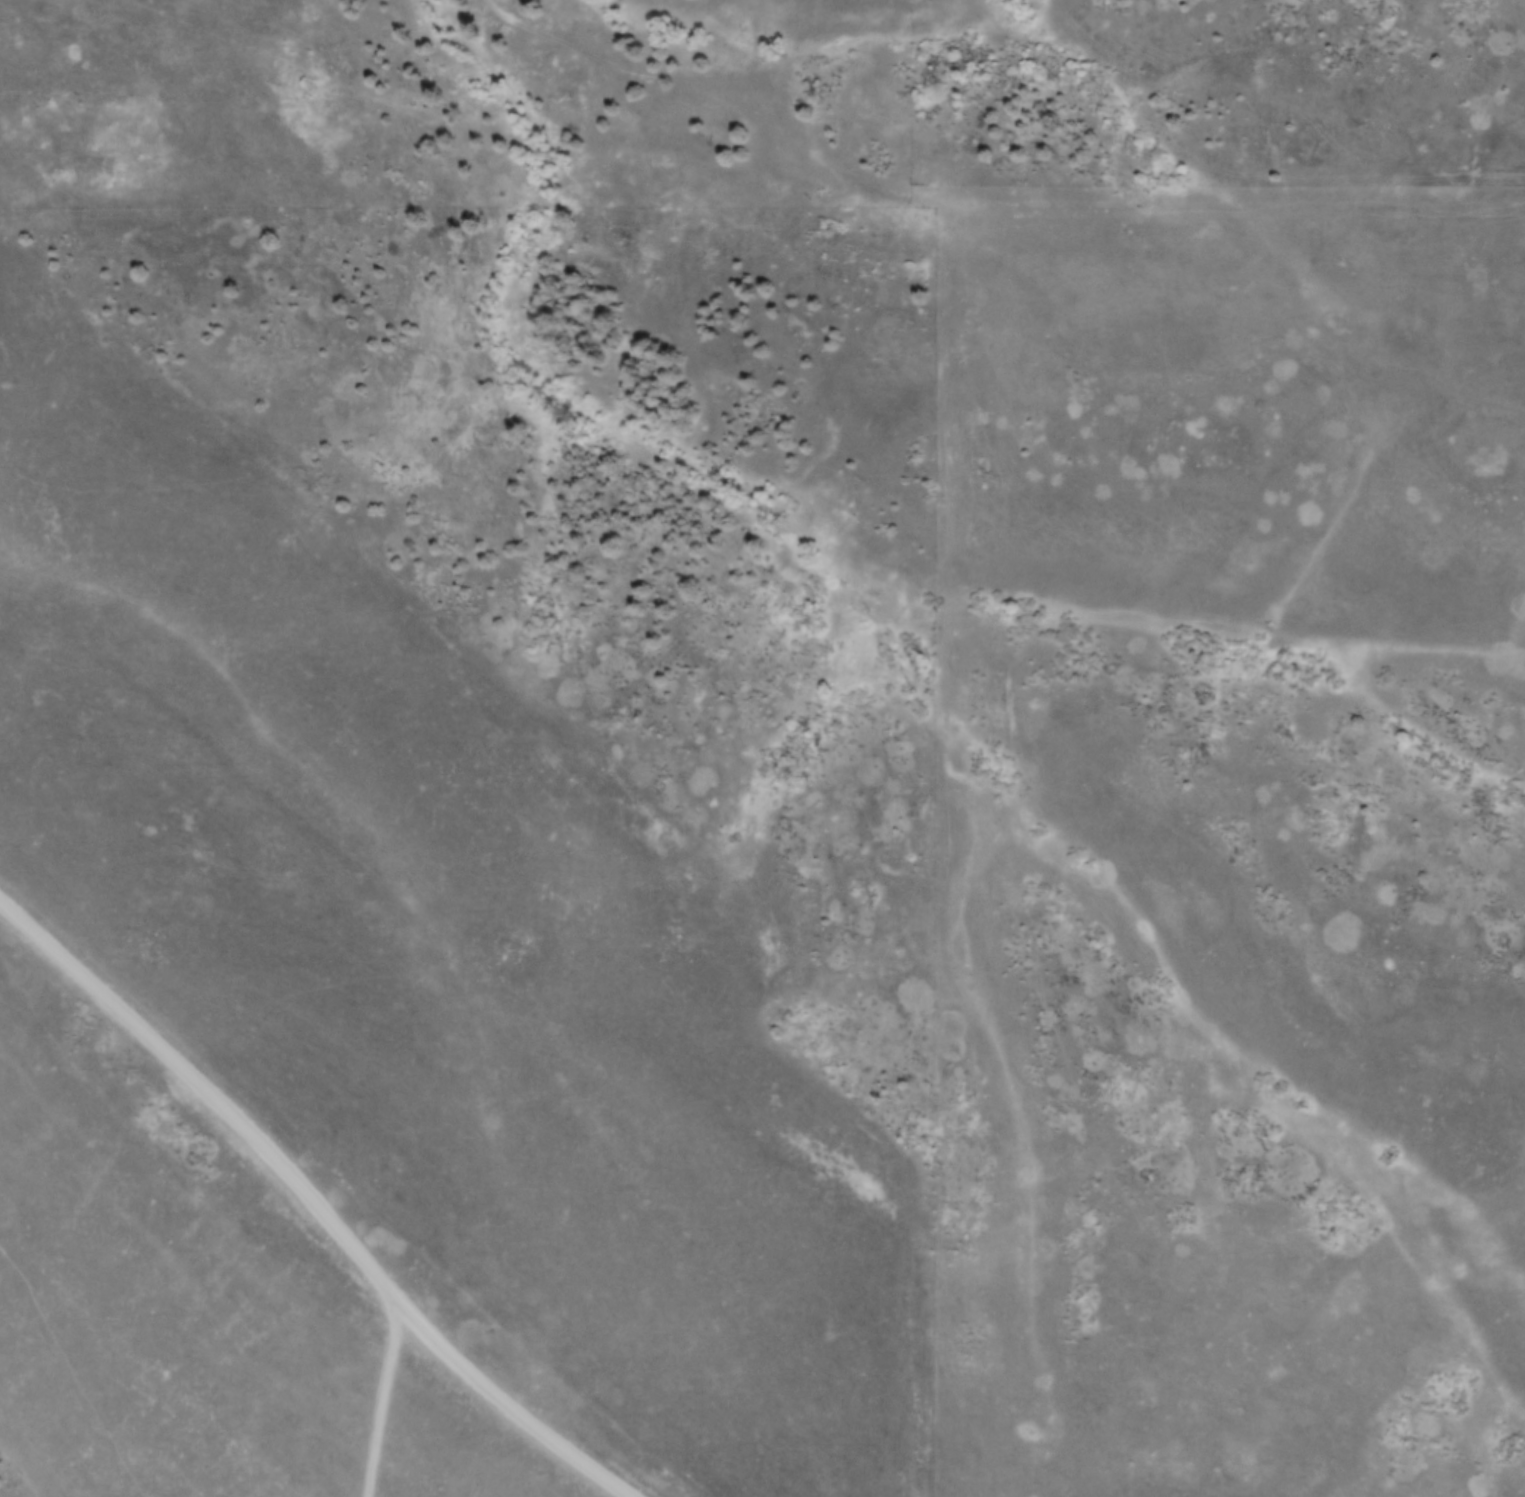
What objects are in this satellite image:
road: (312, 1205)

